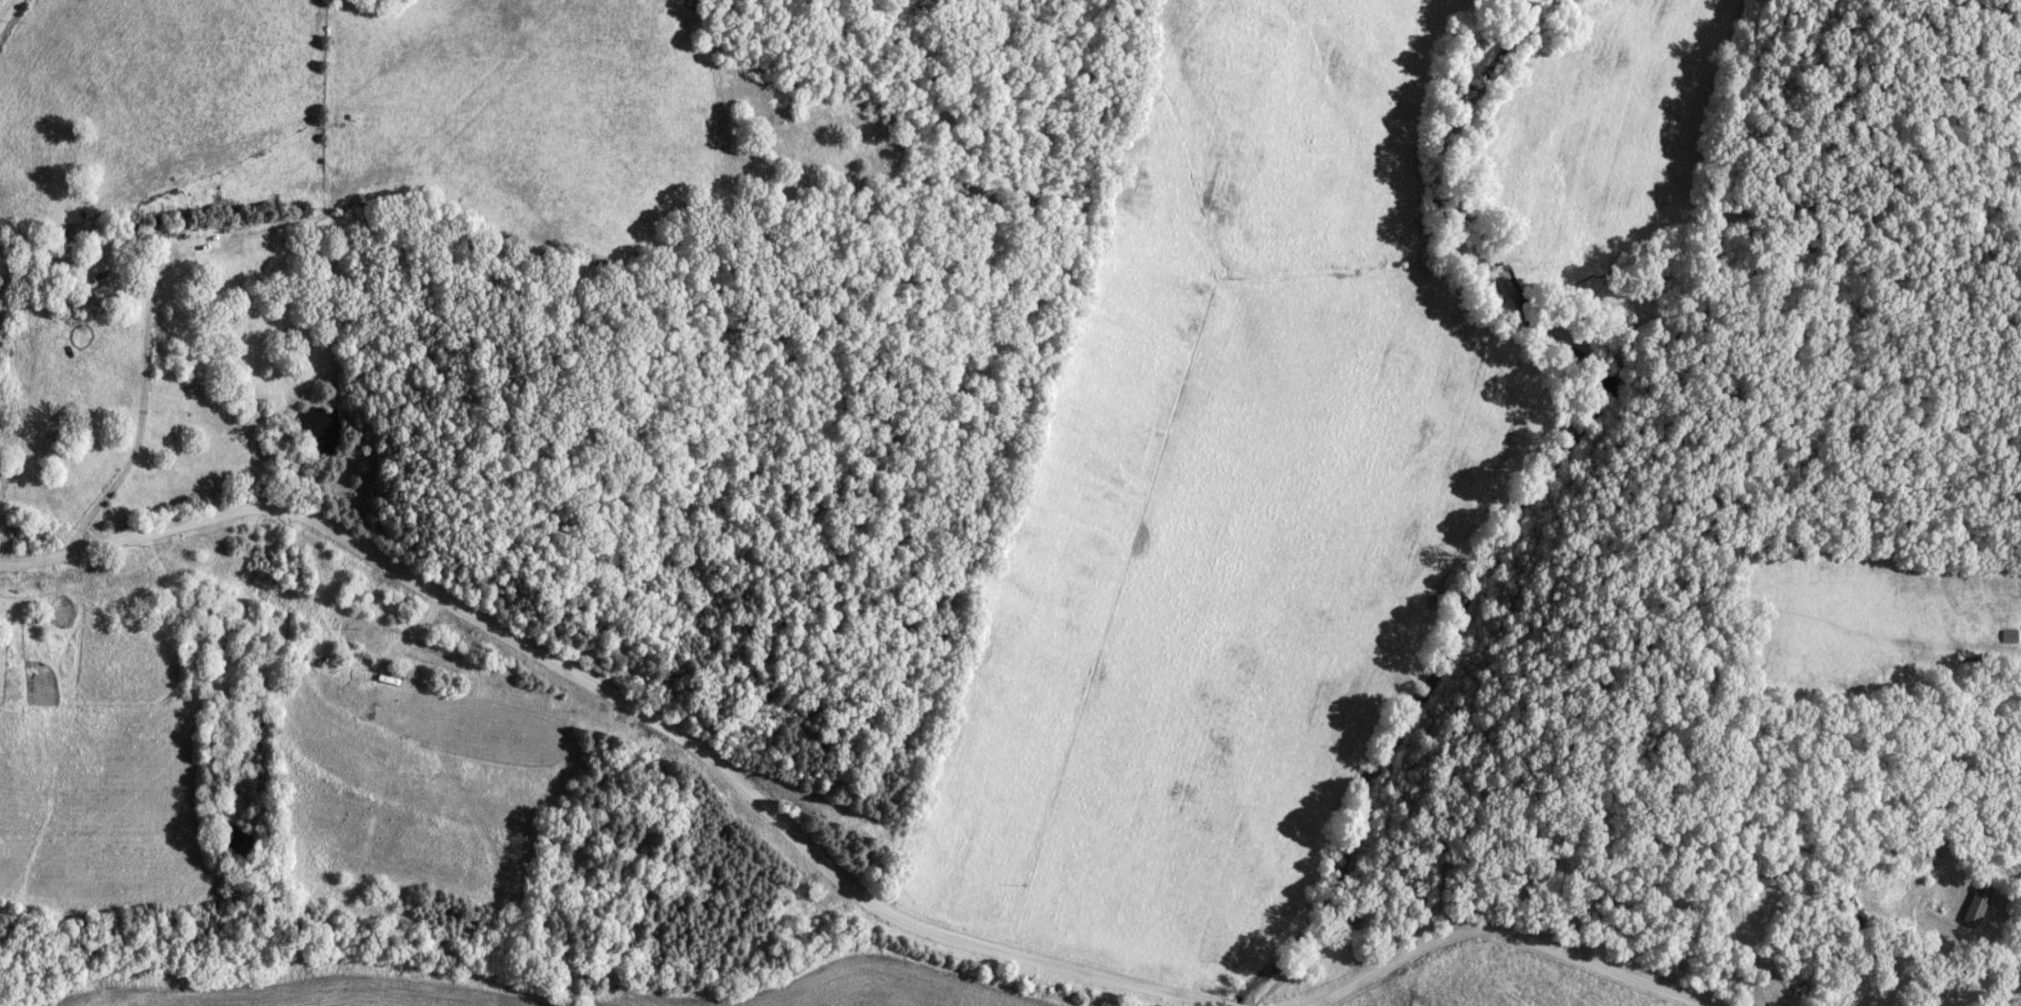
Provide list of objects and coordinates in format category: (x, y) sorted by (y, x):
road: (4, 6)
building: (102, 288)
road: (135, 429)
building: (2009, 636)
road: (619, 704)
building: (1978, 904)
road: (1495, 932)
road: (2018, 1000)

